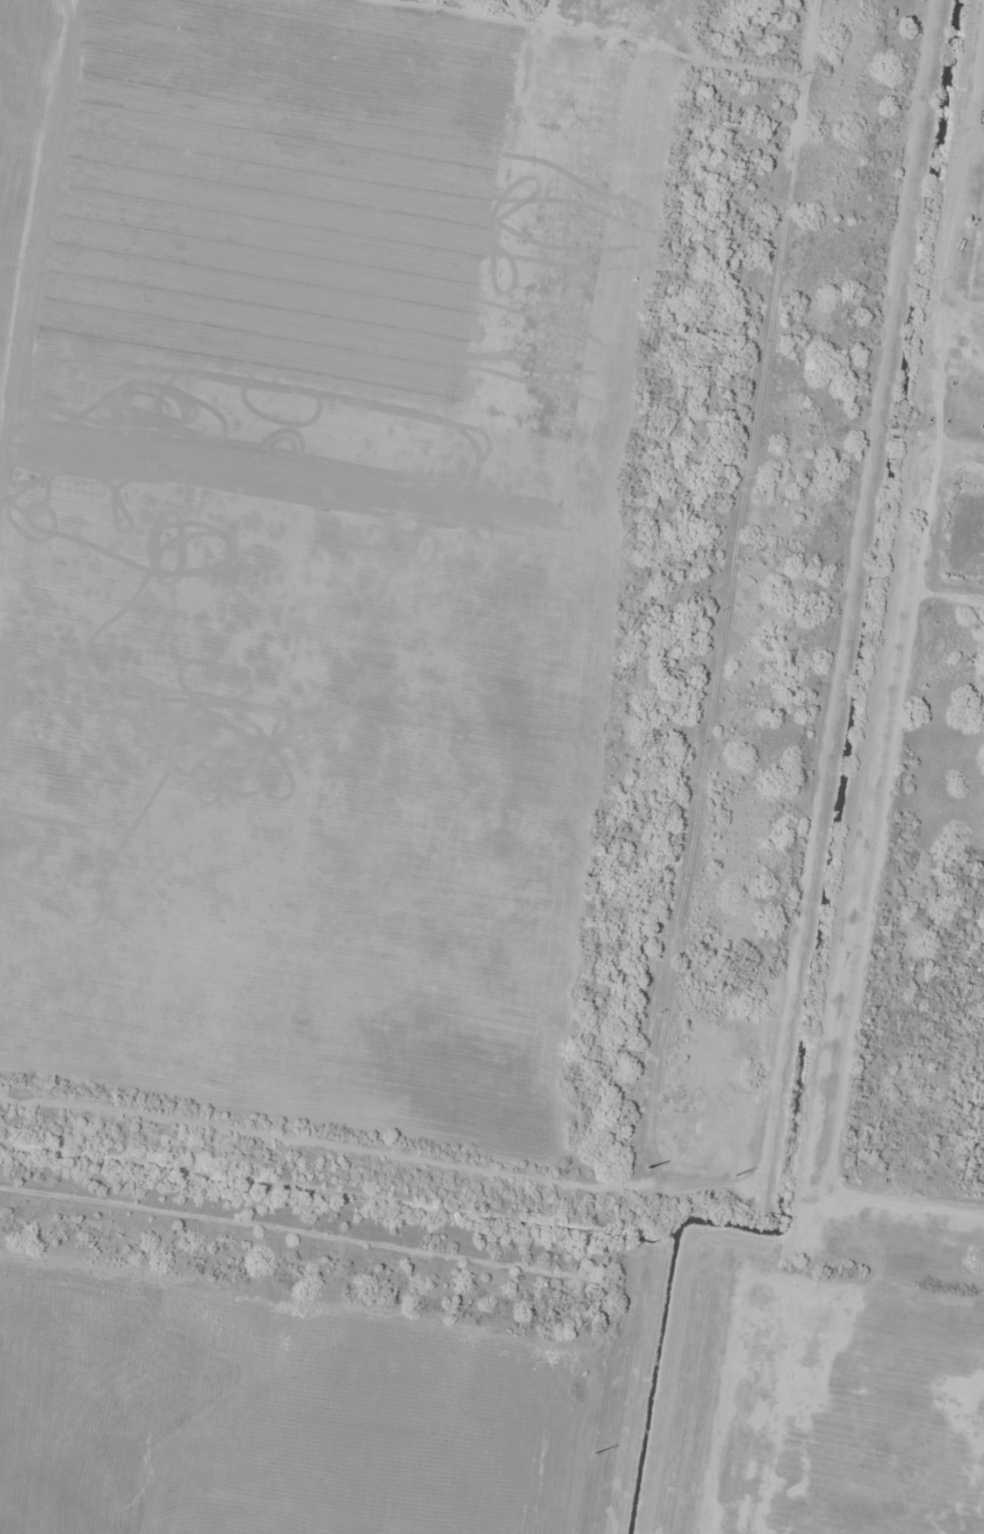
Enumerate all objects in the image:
wastewater plant: (962, 282)

